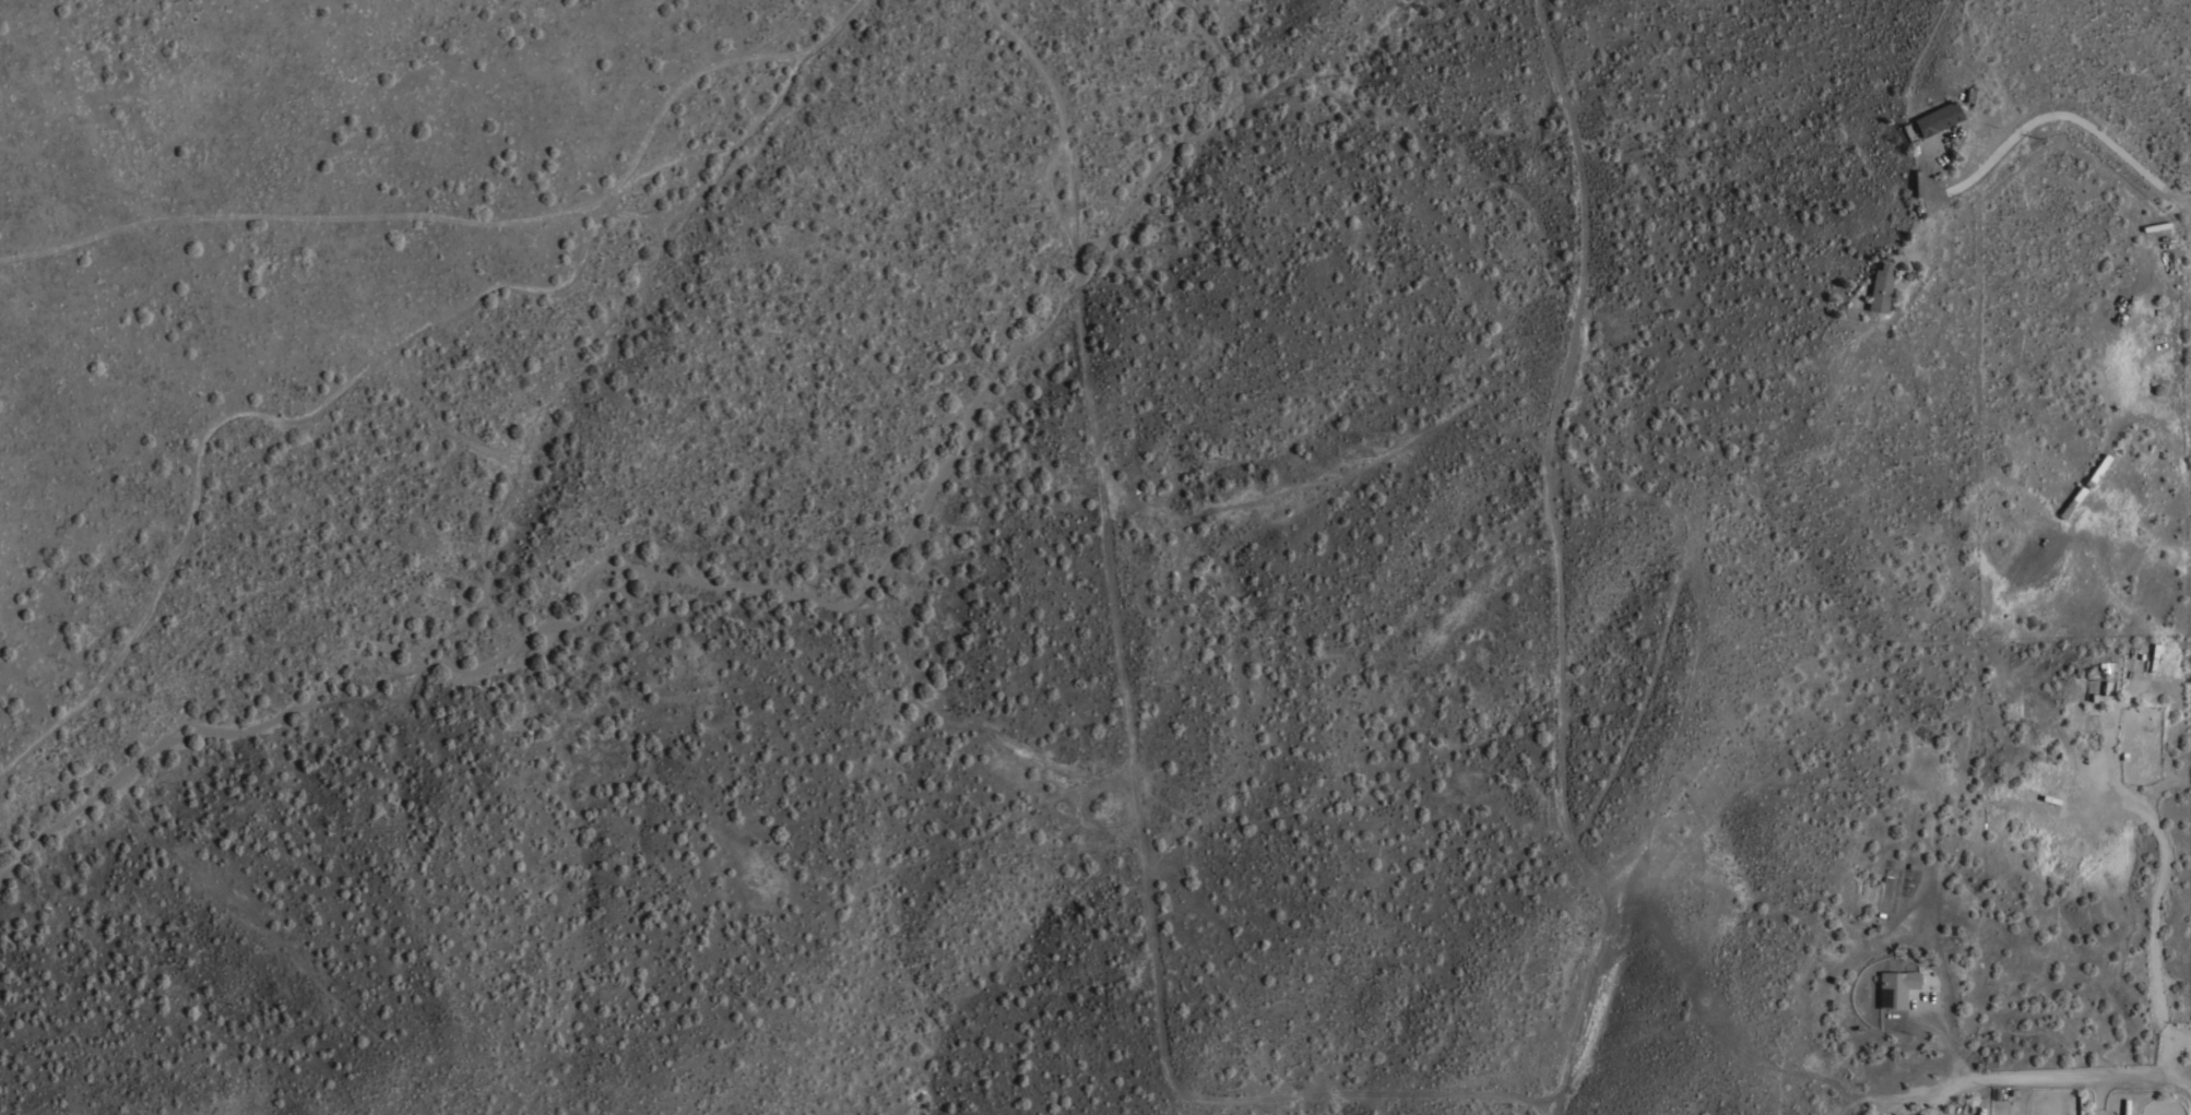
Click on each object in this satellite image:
building: (1937, 118)
road: (2072, 120)
building: (1917, 182)
building: (1880, 288)
road: (1556, 562)
building: (2105, 688)
road: (1126, 724)
road: (2151, 833)
building: (1896, 988)
road: (1940, 1036)
road: (2171, 1036)
road: (2025, 1077)
road: (2091, 1092)
road: (1923, 1095)
road: (1920, 1111)
road: (2088, 1112)

